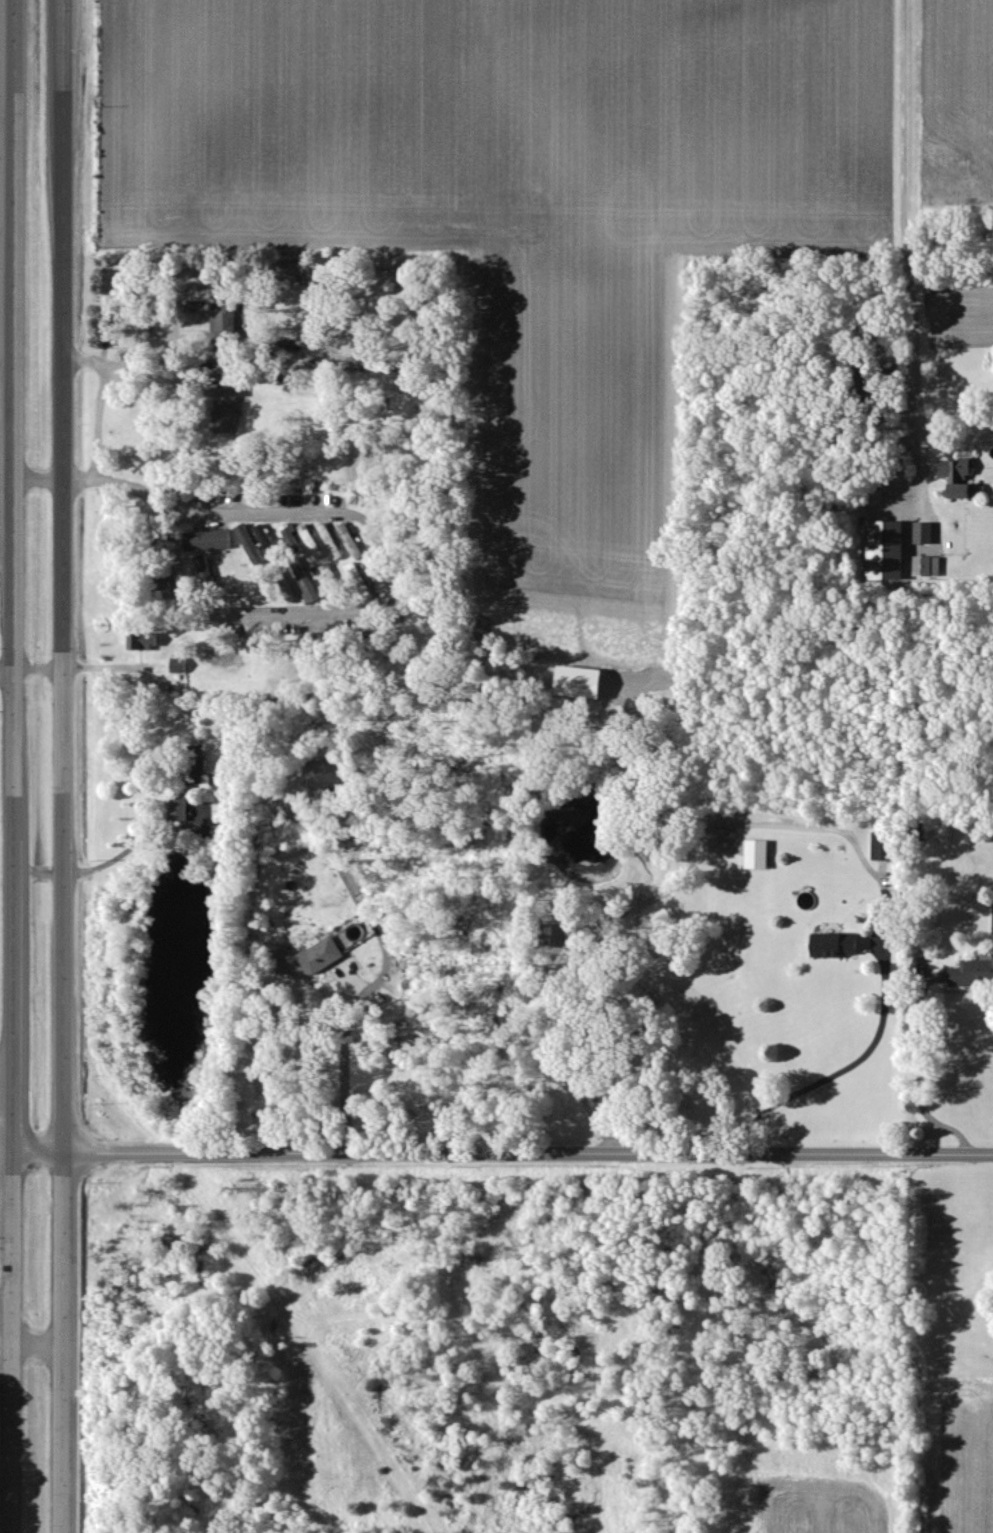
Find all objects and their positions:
road: (911, 251)
road: (170, 301)
building: (229, 319)
road: (152, 376)
building: (234, 405)
road: (97, 410)
building: (961, 471)
building: (970, 493)
building: (929, 535)
road: (374, 538)
building: (212, 542)
building: (315, 543)
building: (335, 543)
building: (355, 543)
building: (262, 547)
building: (893, 553)
building: (932, 568)
building: (207, 569)
building: (359, 573)
building: (332, 579)
building: (384, 579)
building: (310, 586)
building: (149, 643)
building: (183, 667)
road: (14, 669)
road: (74, 671)
road: (7, 675)
building: (589, 685)
building: (331, 778)
building: (183, 812)
road: (137, 840)
building: (888, 848)
building: (763, 857)
road: (45, 869)
building: (842, 947)
building: (314, 959)
building: (975, 975)
road: (916, 1065)
road: (345, 1070)
road: (850, 1071)
road: (7, 1141)
road: (503, 1150)
road: (38, 1340)
road: (12, 1436)
road: (76, 1438)

